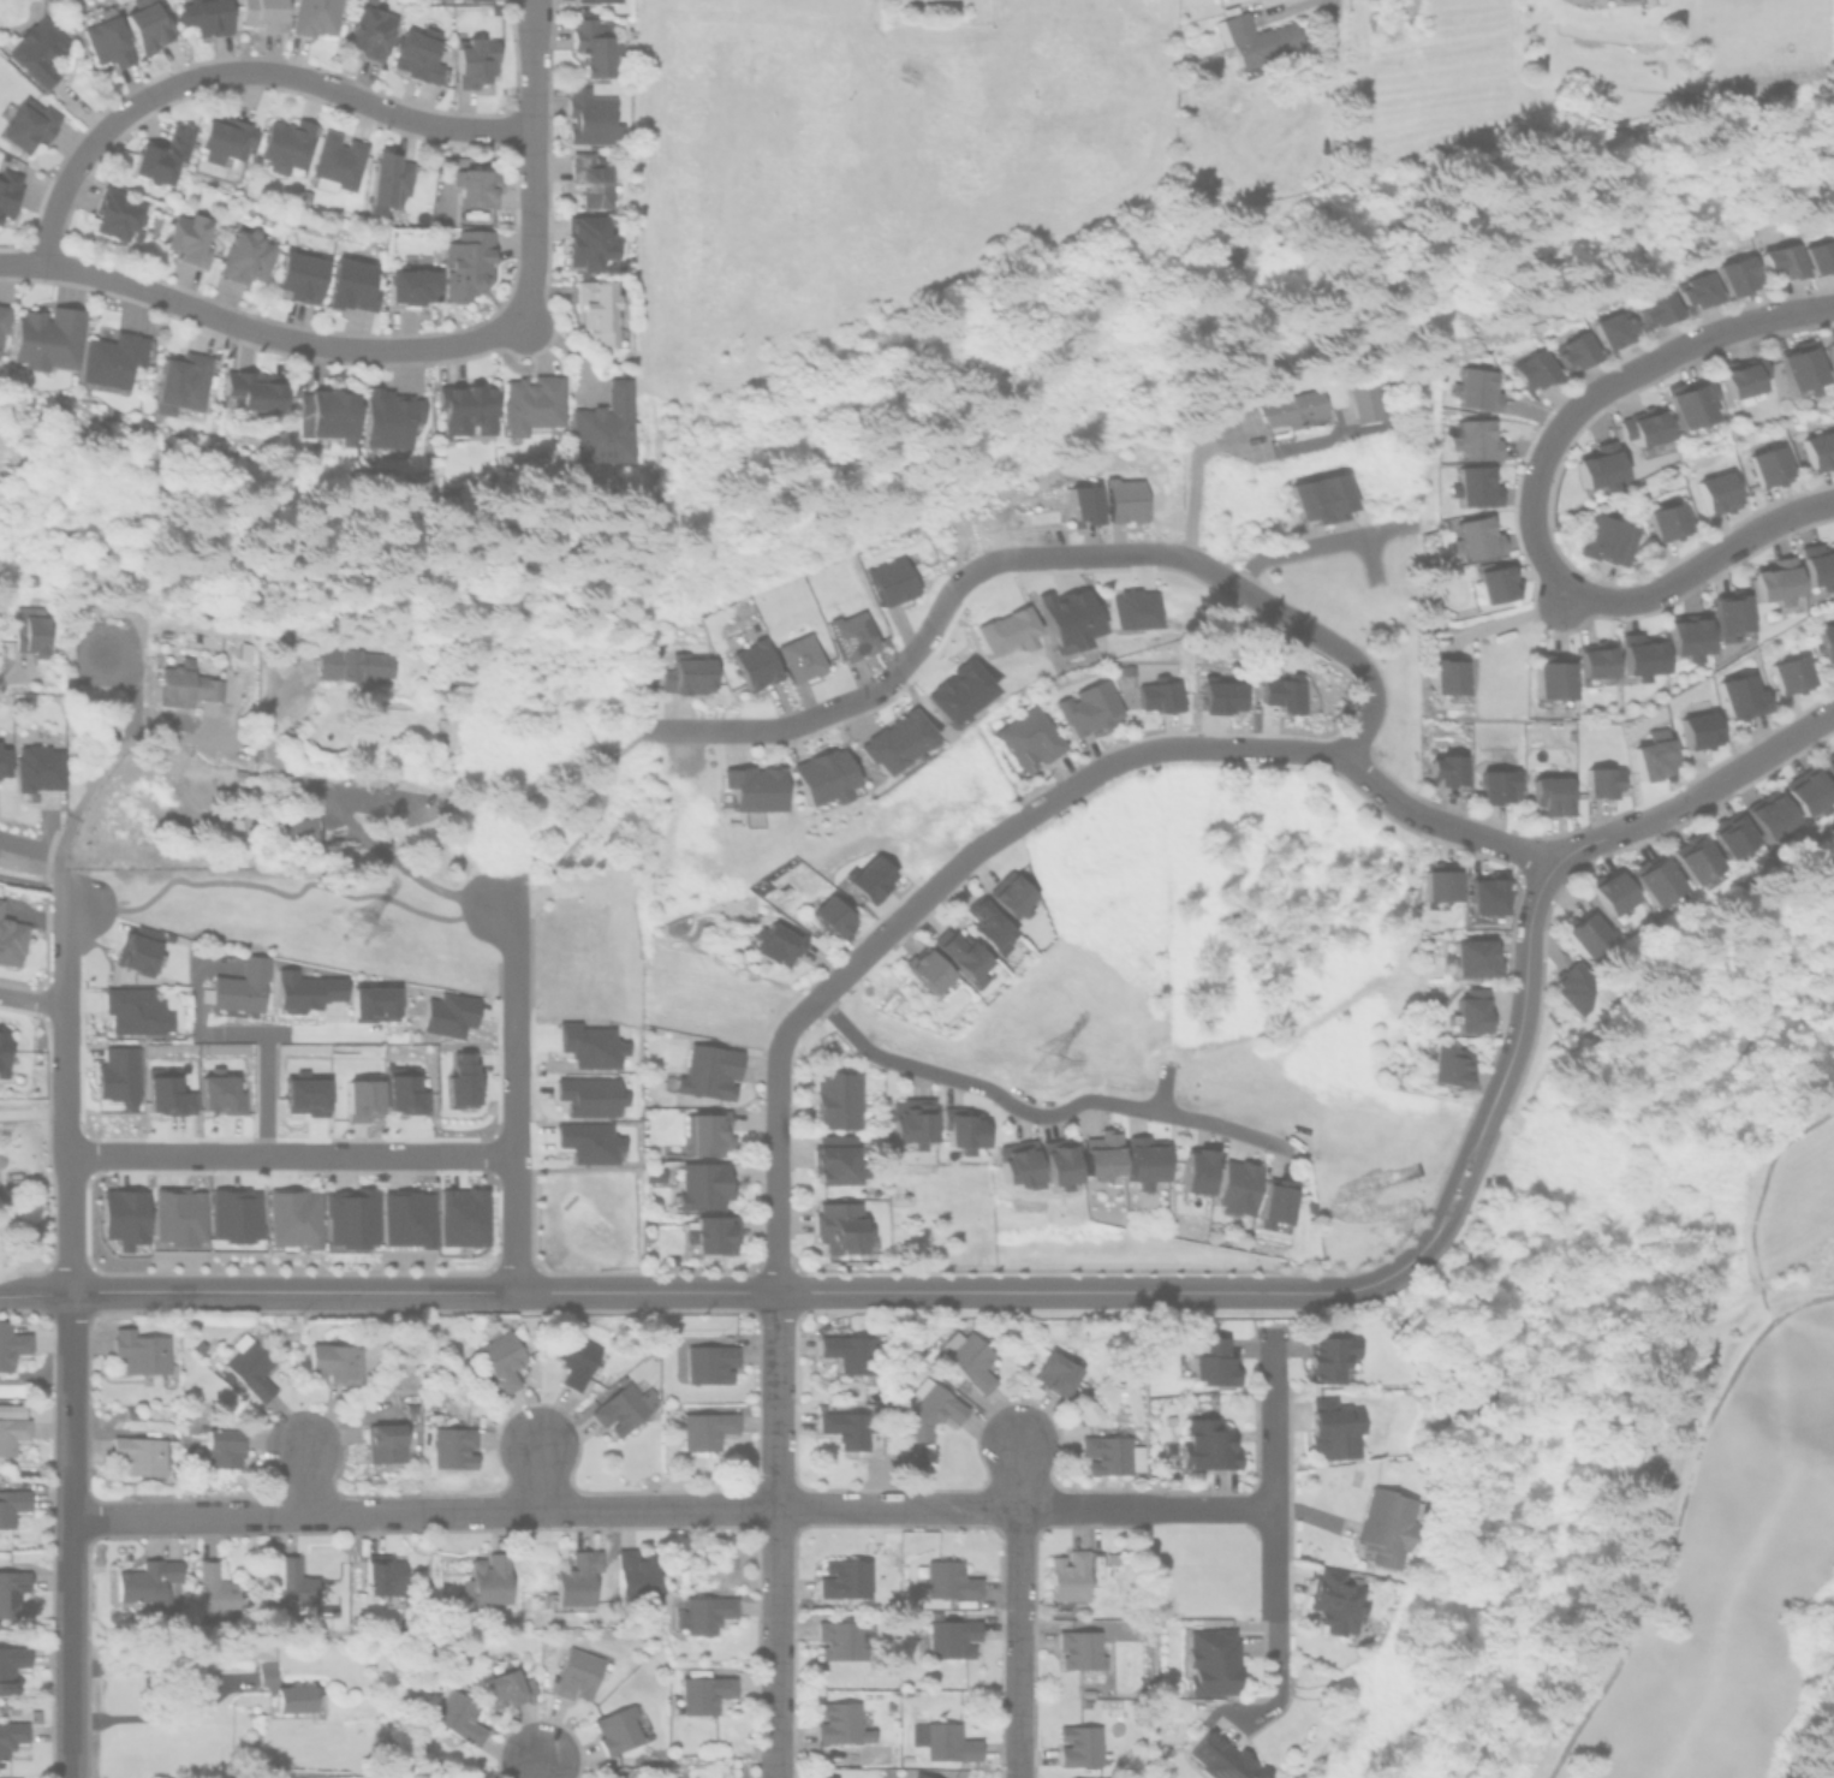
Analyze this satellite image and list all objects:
building: (486, 0)
building: (595, 0)
building: (1626, 1)
road: (1298, 6)
building: (262, 13)
building: (204, 16)
building: (315, 17)
building: (147, 24)
building: (368, 32)
building: (1255, 38)
building: (107, 42)
building: (593, 46)
building: (36, 50)
building: (415, 57)
building: (474, 63)
road: (238, 70)
building: (589, 117)
building: (26, 124)
building: (222, 139)
building: (285, 145)
building: (161, 155)
road: (534, 159)
building: (335, 162)
building: (588, 180)
building: (387, 182)
building: (474, 186)
building: (7, 190)
building: (114, 215)
building: (187, 239)
building: (588, 242)
building: (245, 256)
building: (1820, 260)
building: (466, 264)
building: (1781, 266)
building: (298, 276)
building: (1737, 279)
building: (351, 285)
building: (410, 286)
building: (1695, 293)
building: (597, 310)
building: (1656, 311)
building: (2, 317)
road: (257, 327)
building: (1613, 332)
building: (46, 338)
building: (1832, 351)
building: (1573, 353)
building: (111, 358)
road: (1650, 363)
building: (1532, 373)
building: (1798, 373)
building: (1740, 379)
building: (181, 381)
building: (1477, 388)
building: (254, 390)
building: (1364, 400)
building: (530, 406)
building: (1687, 406)
building: (464, 408)
building: (1292, 409)
building: (324, 415)
building: (387, 417)
building: (602, 427)
building: (1645, 434)
building: (1475, 439)
building: (1820, 453)
building: (1596, 466)
building: (1767, 469)
road: (1191, 481)
building: (1473, 486)
building: (1716, 496)
building: (1322, 498)
building: (1124, 500)
building: (1083, 505)
building: (1666, 524)
building: (1475, 537)
building: (1606, 537)
road: (1316, 546)
road: (1169, 553)
building: (1818, 565)
building: (1773, 578)
building: (889, 581)
building: (1494, 583)
road: (959, 584)
road: (1659, 588)
building: (1129, 608)
building: (1727, 613)
building: (1064, 617)
road: (1506, 619)
building: (1004, 630)
building: (30, 631)
building: (850, 635)
building: (1685, 636)
building: (1826, 642)
road: (1330, 643)
building: (1639, 655)
building: (798, 658)
building: (1594, 662)
building: (355, 664)
building: (754, 664)
building: (686, 676)
building: (1791, 676)
building: (1445, 678)
road: (20, 679)
building: (1549, 679)
building: (185, 686)
building: (1284, 692)
building: (1157, 696)
building: (1217, 696)
building: (1740, 697)
building: (1086, 708)
road: (769, 730)
building: (1698, 730)
building: (1029, 738)
building: (894, 741)
road: (107, 759)
building: (2, 761)
building: (1443, 765)
building: (1829, 767)
building: (34, 768)
building: (822, 775)
building: (1600, 783)
building: (1495, 786)
building: (752, 787)
building: (1806, 790)
road: (1693, 793)
building: (1549, 795)
road: (1040, 808)
building: (1769, 814)
building: (290, 819)
building: (1731, 834)
road: (383, 848)
road: (50, 855)
building: (1692, 858)
building: (868, 879)
building: (1653, 879)
building: (1439, 885)
building: (1607, 894)
building: (1011, 896)
building: (1484, 896)
building: (0, 899)
road: (398, 900)
building: (830, 916)
building: (988, 926)
building: (1583, 933)
park: (1232, 936)
building: (10, 941)
power tower: (351, 941)
building: (775, 944)
building: (135, 953)
building: (960, 956)
building: (1473, 957)
building: (925, 969)
building: (239, 987)
building: (1570, 988)
building: (304, 991)
road: (30, 998)
building: (371, 1003)
road: (1522, 1009)
building: (133, 1011)
building: (1472, 1011)
building: (447, 1015)
road: (244, 1029)
building: (588, 1045)
building: (2, 1053)
building: (1446, 1066)
power tower: (1034, 1069)
building: (707, 1072)
building: (117, 1076)
building: (460, 1080)
road: (1160, 1089)
building: (404, 1090)
road: (261, 1092)
building: (166, 1093)
building: (219, 1093)
building: (304, 1095)
road: (513, 1095)
building: (588, 1095)
road: (60, 1098)
building: (361, 1099)
building: (835, 1100)
road: (1038, 1117)
building: (910, 1120)
building: (960, 1129)
building: (704, 1134)
building: (588, 1142)
road: (288, 1154)
building: (1100, 1155)
building: (1143, 1161)
building: (1058, 1162)
building: (834, 1164)
building: (1017, 1164)
building: (1195, 1171)
building: (702, 1184)
building: (1234, 1188)
building: (1273, 1202)
building: (233, 1214)
building: (123, 1217)
building: (177, 1217)
building: (349, 1217)
building: (459, 1217)
building: (291, 1218)
building: (405, 1218)
building: (839, 1226)
building: (711, 1233)
road: (484, 1291)
road: (1106, 1294)
road: (35, 1295)
road: (1303, 1330)
building: (11, 1342)
building: (138, 1348)
building: (850, 1352)
building: (1332, 1355)
building: (501, 1357)
building: (574, 1357)
building: (970, 1357)
building: (333, 1360)
building: (1214, 1360)
building: (708, 1361)
building: (250, 1364)
building: (1058, 1368)
building: (623, 1405)
building: (930, 1407)
building: (1090, 1409)
road: (774, 1415)
building: (11, 1423)
road: (1270, 1425)
building: (845, 1426)
building: (705, 1427)
building: (1335, 1427)
building: (391, 1440)
building: (221, 1444)
building: (1208, 1444)
building: (452, 1445)
building: (138, 1452)
building: (1110, 1452)
road: (537, 1479)
road: (299, 1481)
building: (11, 1502)
road: (1666, 1506)
road: (669, 1508)
building: (1388, 1523)
road: (67, 1536)
building: (1112, 1556)
building: (637, 1575)
building: (382, 1576)
building: (486, 1576)
park: (1710, 1576)
building: (844, 1577)
building: (946, 1578)
building: (145, 1580)
building: (1068, 1580)
building: (573, 1581)
building: (288, 1583)
building: (11, 1588)
building: (214, 1588)
building: (1338, 1599)
road: (1019, 1610)
building: (703, 1612)
road: (1274, 1624)
building: (1123, 1625)
building: (1138, 1628)
building: (951, 1634)
building: (842, 1637)
building: (1084, 1649)
building: (1214, 1660)
building: (10, 1664)
building: (580, 1670)
building: (543, 1673)
building: (502, 1681)
building: (528, 1684)
building: (287, 1690)
road: (215, 1691)
building: (702, 1693)
building: (457, 1715)
building: (840, 1721)
building: (615, 1729)
building: (11, 1734)
building: (943, 1740)
building: (1080, 1744)
building: (1226, 1759)
road: (535, 1768)
building: (919, 1774)
building: (827, 1776)
building: (1079, 1777)

